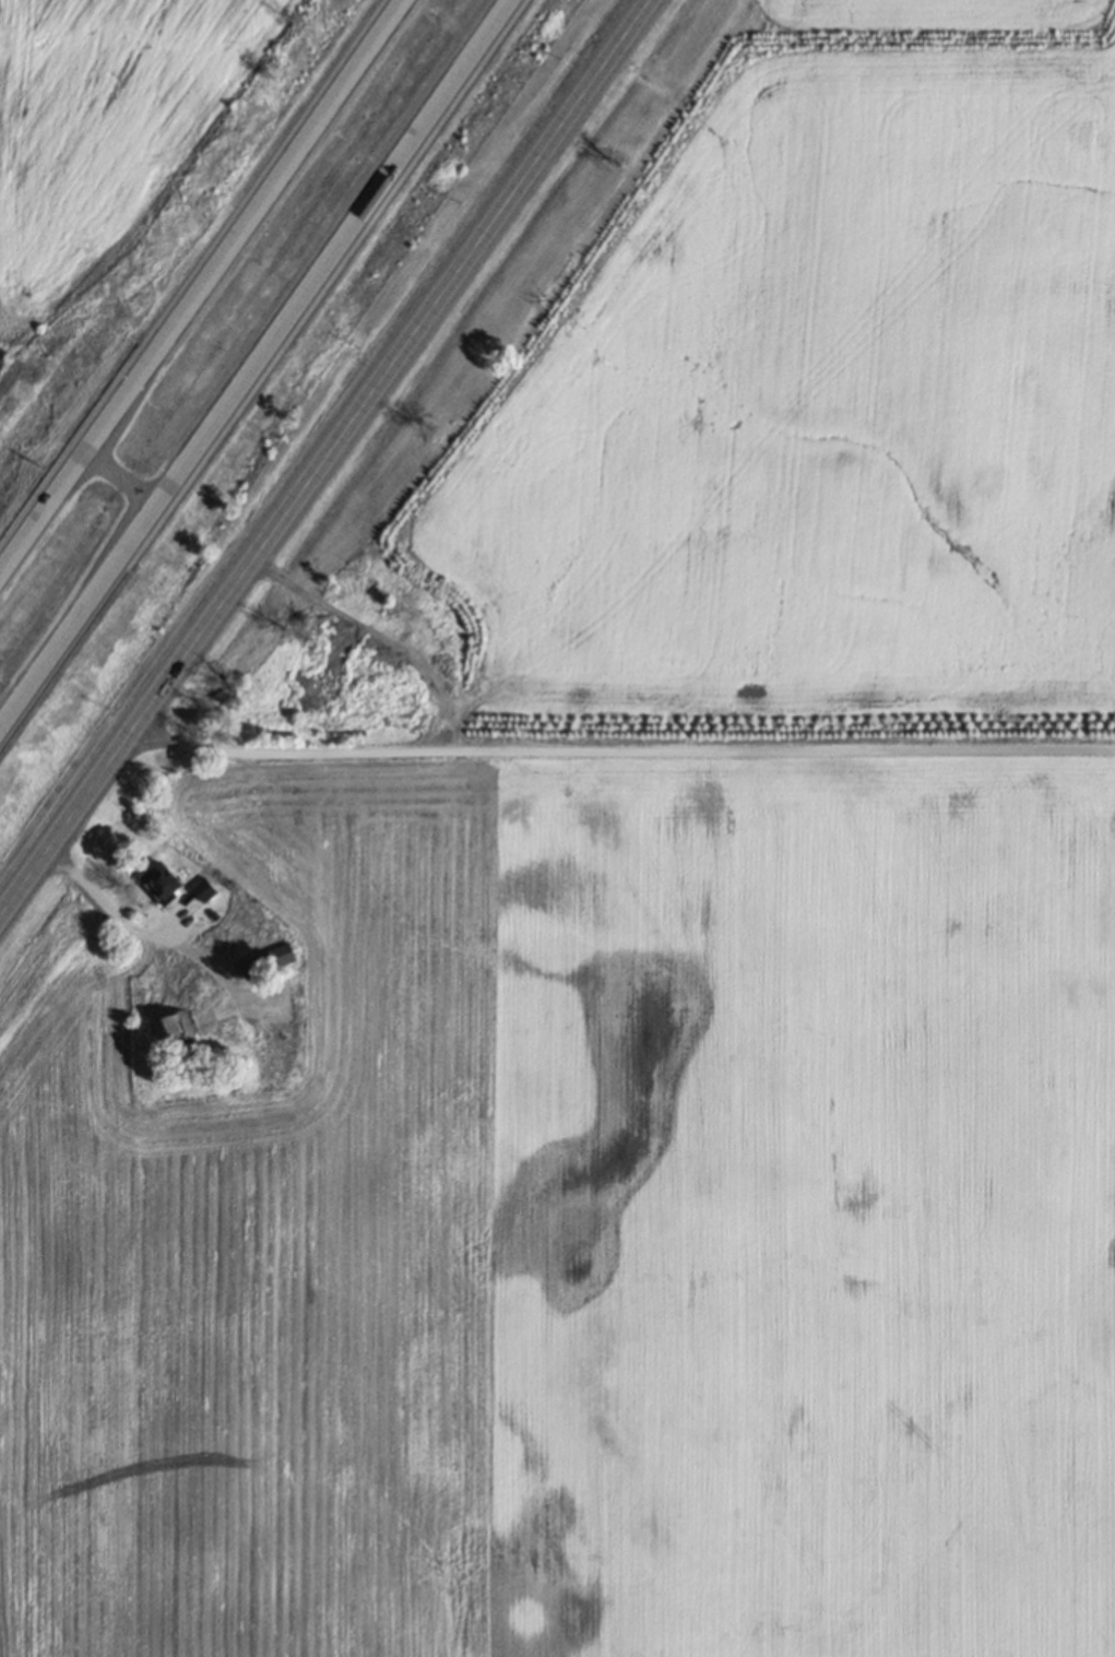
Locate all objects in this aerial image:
crop: (103, 130)
road: (191, 277)
road: (263, 374)
road: (327, 455)
road: (112, 489)
road: (622, 749)
building: (161, 881)
building: (202, 889)
road: (138, 930)
building: (266, 963)
building: (176, 1030)
crop: (580, 1222)

